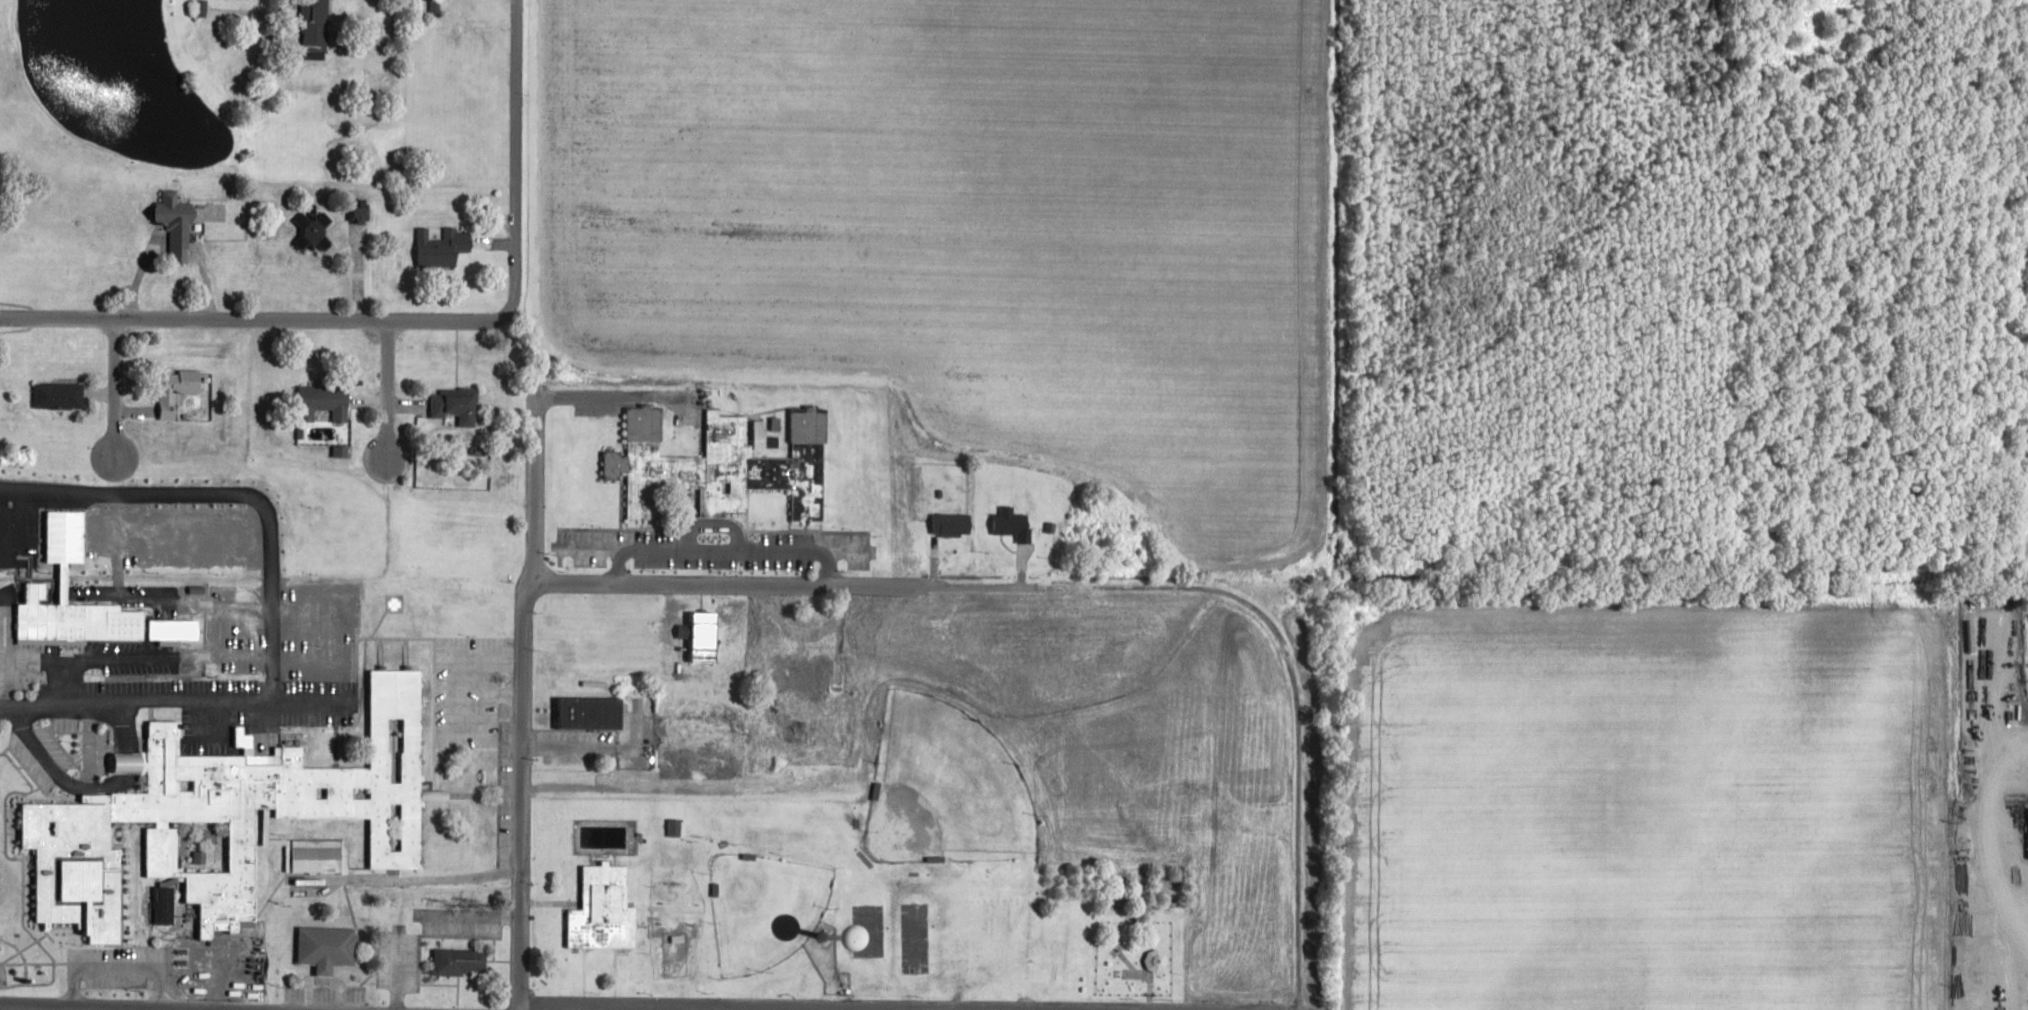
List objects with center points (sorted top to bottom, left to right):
building: (201, 8)
building: (319, 25)
road: (513, 157)
building: (312, 233)
building: (448, 247)
road: (355, 275)
road: (254, 321)
building: (178, 389)
road: (117, 393)
building: (59, 395)
road: (608, 397)
building: (327, 400)
building: (454, 405)
building: (724, 463)
building: (2022, 519)
building: (1013, 523)
building: (952, 524)
road: (735, 582)
helipad: (392, 601)
building: (99, 622)
building: (704, 637)
building: (803, 673)
road: (475, 695)
road: (174, 700)
road: (517, 701)
building: (591, 713)
road: (80, 785)
park: (945, 788)
road: (473, 793)
building: (231, 822)
building: (165, 905)
park: (767, 906)
building: (604, 909)
water tower: (822, 936)
building: (328, 947)
building: (1156, 960)
building: (461, 962)
road: (105, 1006)
road: (124, 1008)
road: (714, 1008)
road: (719, 1009)

